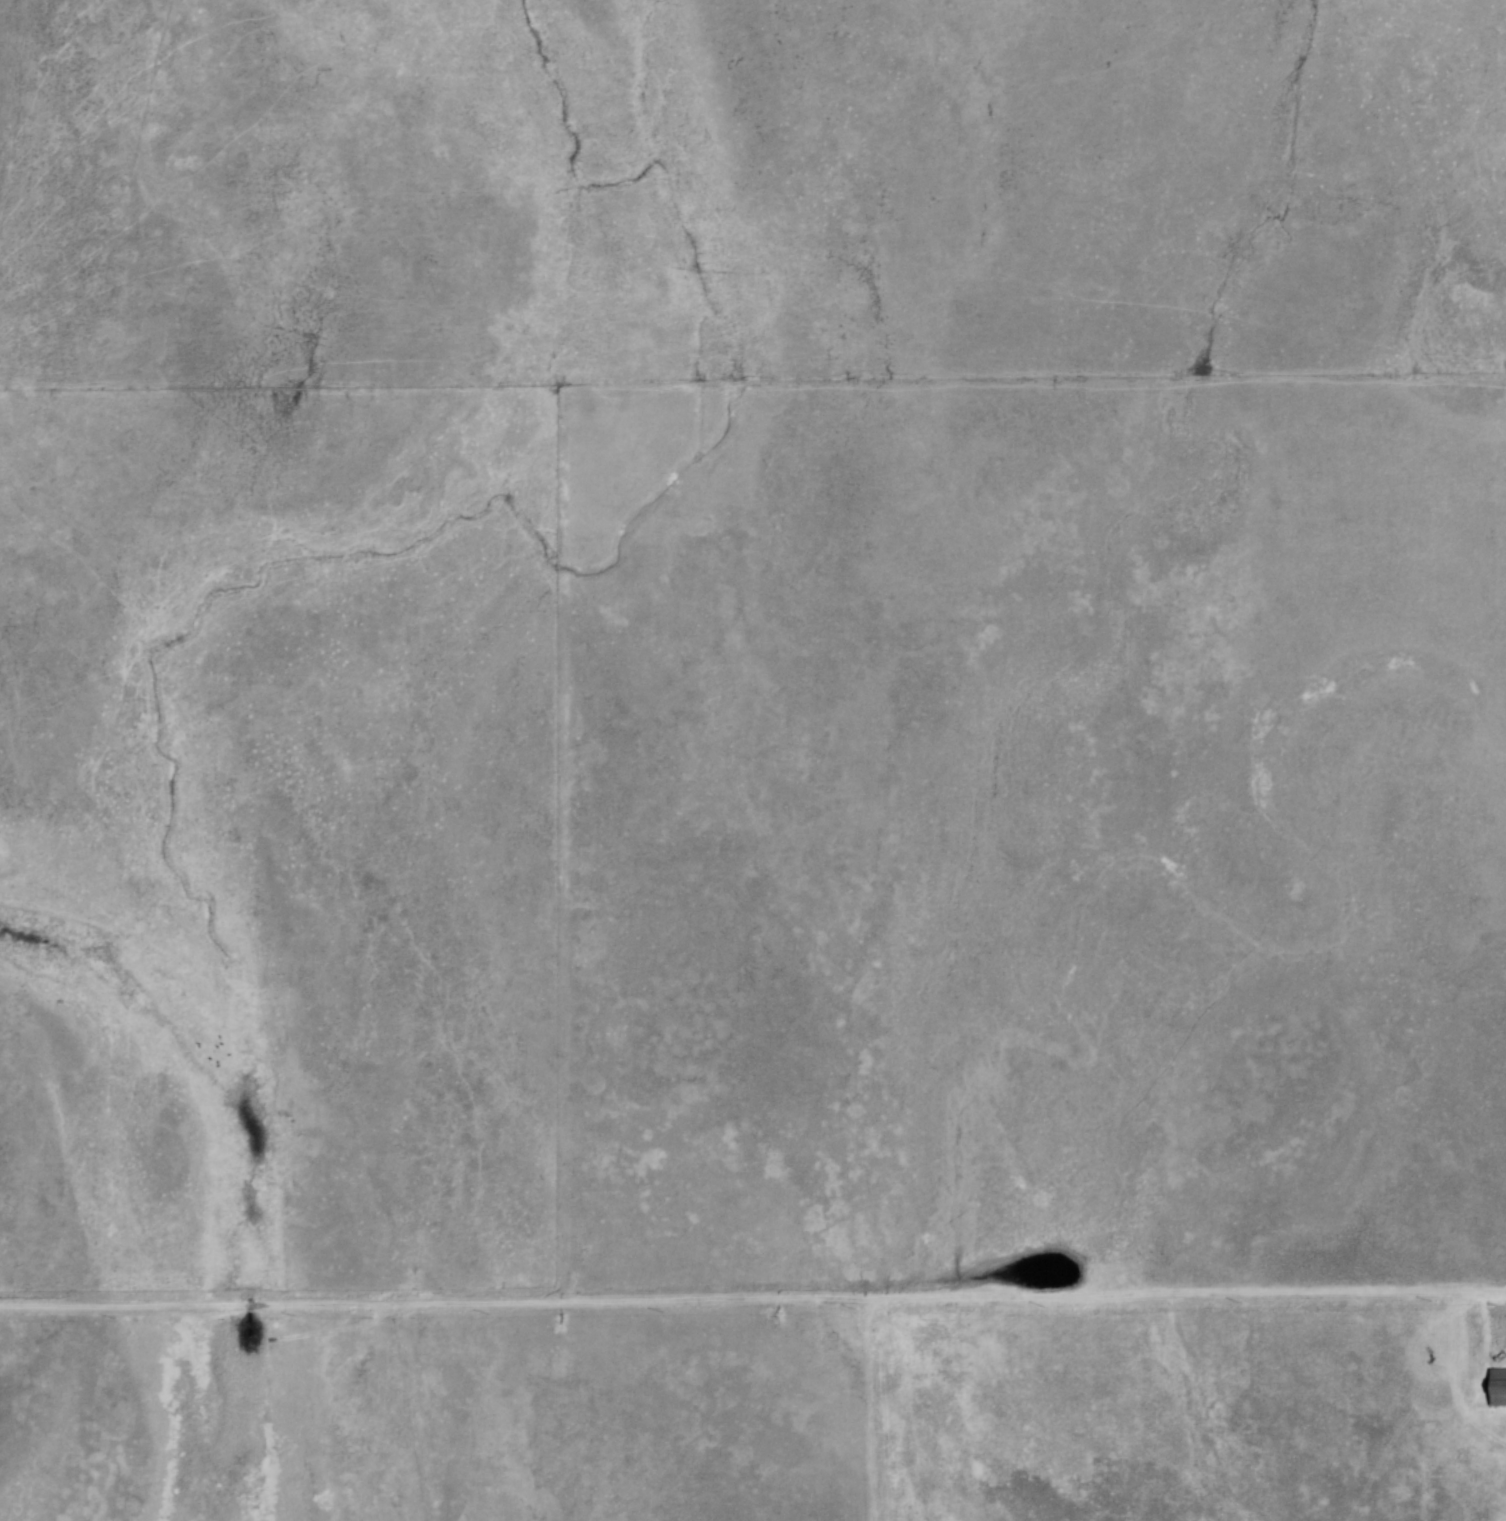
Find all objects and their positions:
crop: (1047, 839)
road: (753, 1301)
building: (1498, 1388)
crop: (1189, 1414)
crop: (579, 1424)

